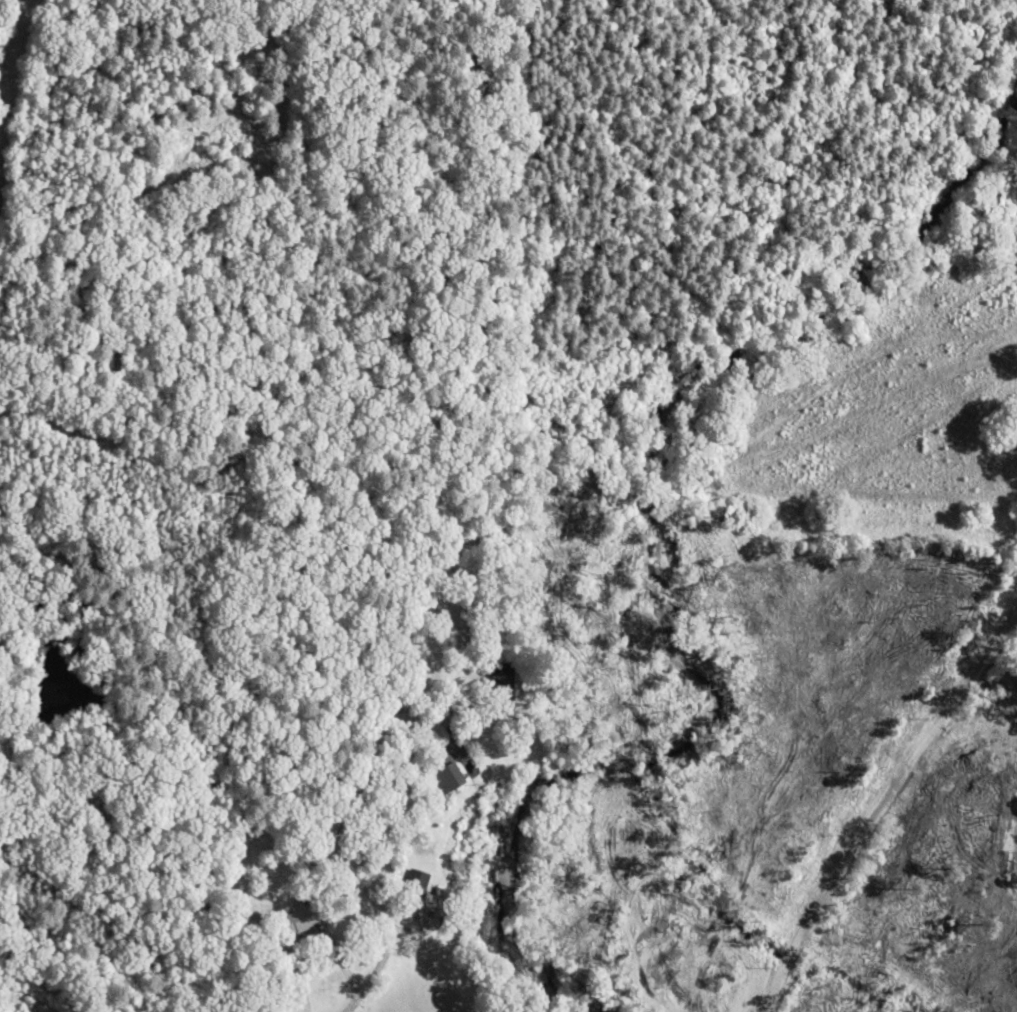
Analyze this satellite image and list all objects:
building: (447, 774)
road: (881, 808)
building: (417, 880)
building: (300, 915)
road: (206, 955)
building: (0, 1011)

